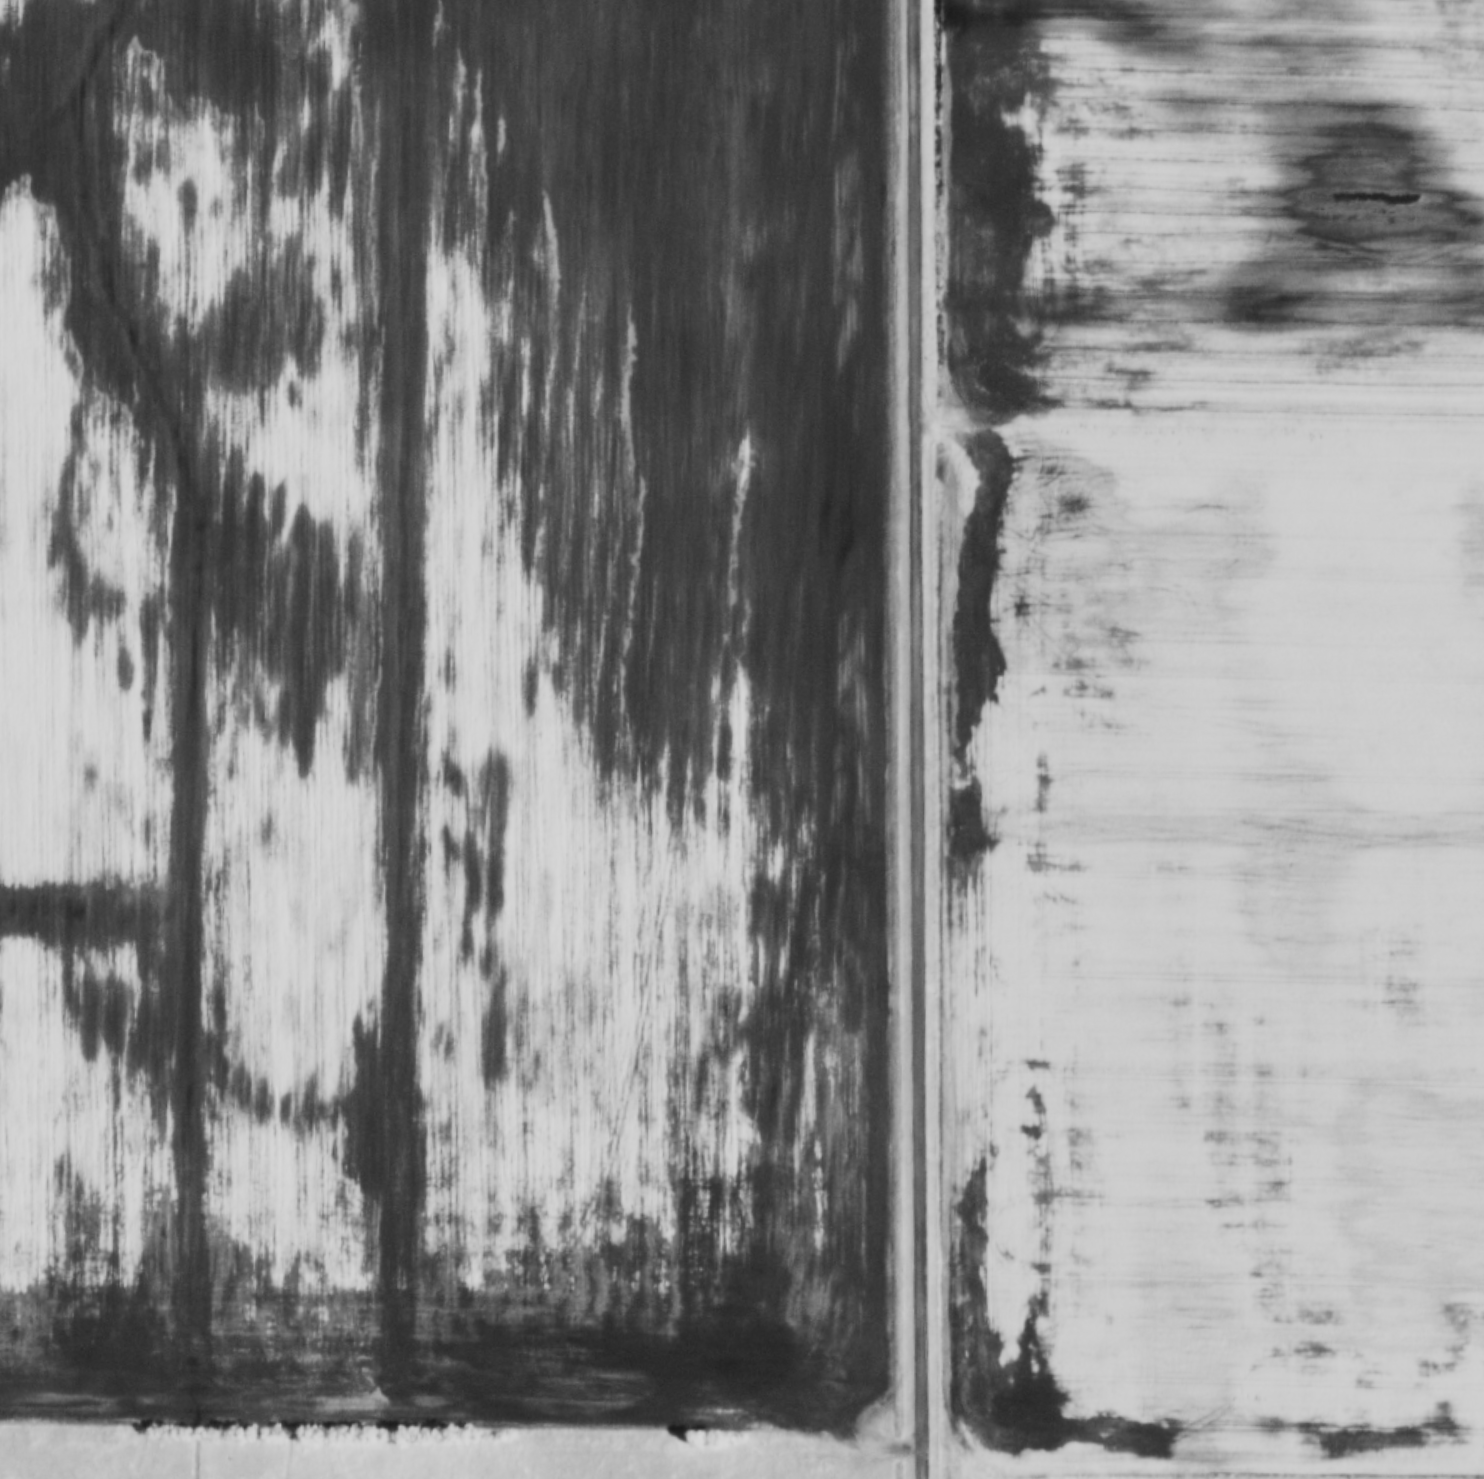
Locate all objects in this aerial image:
road: (921, 739)

